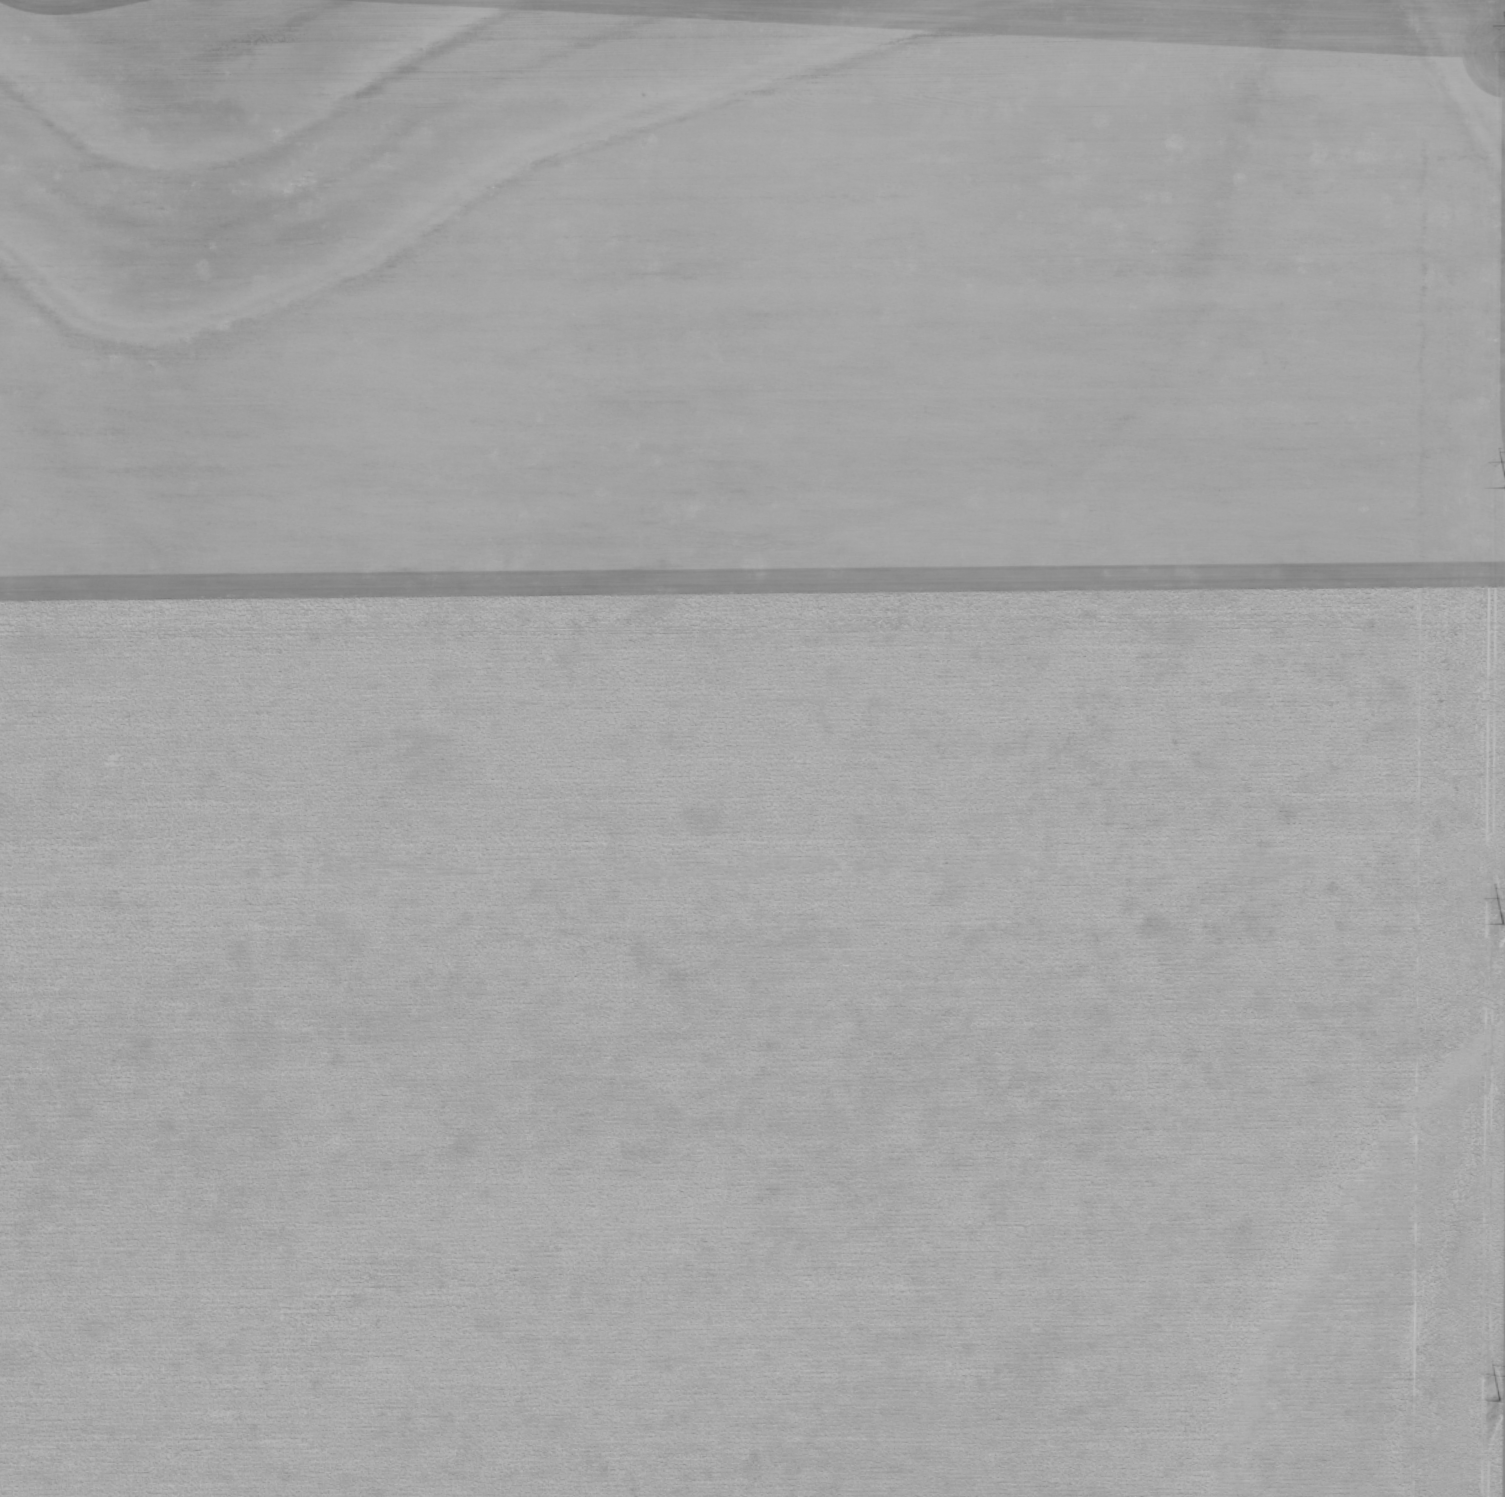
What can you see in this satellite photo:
power tower: (1504, 488)
power tower: (1501, 923)
power tower: (1497, 1399)

